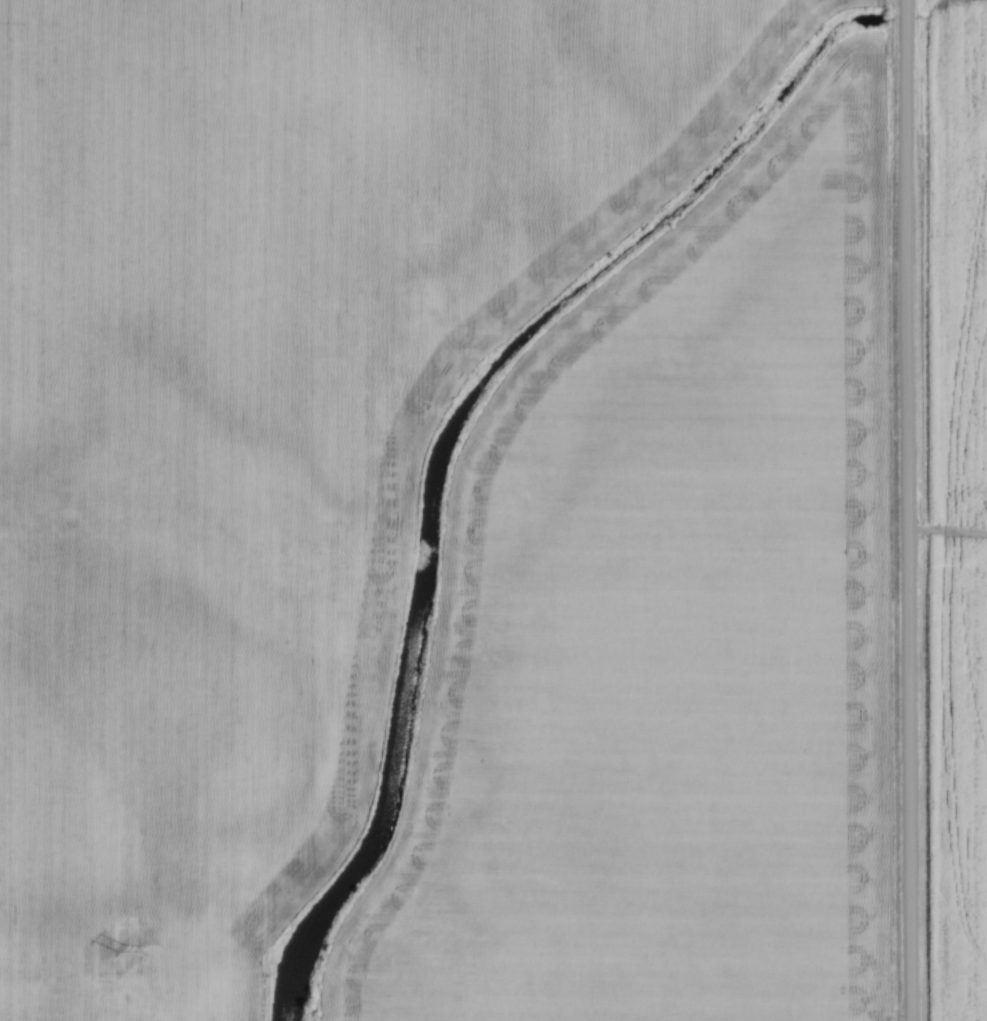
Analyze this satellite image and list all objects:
road: (905, 510)
power tower: (120, 948)

